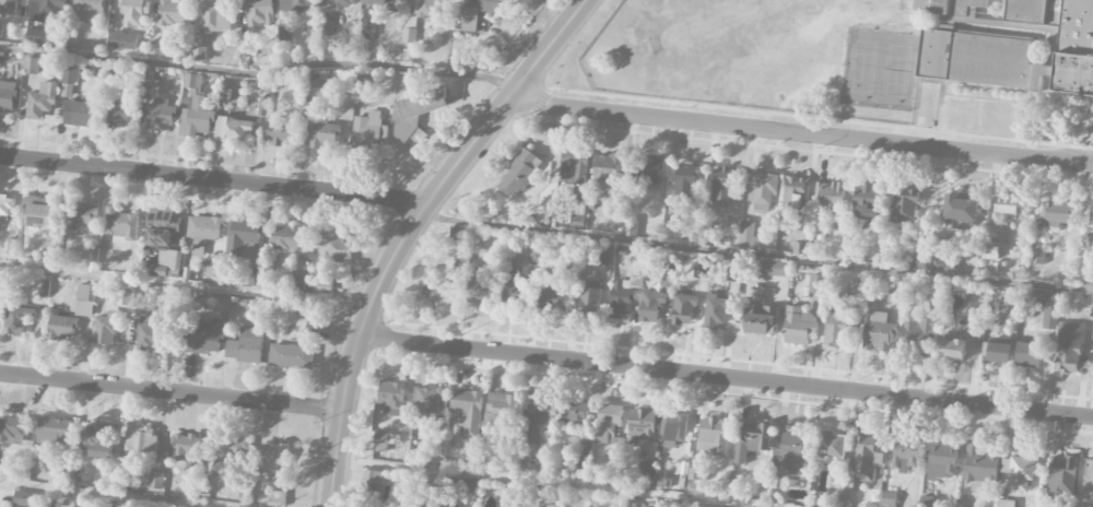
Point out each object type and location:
building: (378, 2)
building: (340, 4)
building: (296, 5)
building: (969, 5)
building: (8, 7)
building: (931, 7)
building: (424, 8)
building: (91, 9)
building: (49, 10)
building: (134, 12)
building: (478, 12)
building: (1027, 12)
building: (174, 13)
building: (260, 13)
building: (216, 17)
building: (1072, 25)
building: (367, 28)
park: (732, 30)
building: (37, 37)
building: (124, 40)
building: (161, 48)
building: (245, 50)
building: (199, 54)
building: (998, 63)
building: (31, 66)
park: (878, 70)
road: (248, 75)
building: (69, 80)
building: (318, 87)
building: (8, 96)
building: (42, 102)
building: (261, 106)
building: (195, 110)
building: (122, 113)
building: (78, 114)
building: (161, 115)
building: (415, 115)
building: (234, 130)
building: (279, 132)
building: (369, 132)
road: (802, 133)
building: (325, 137)
building: (573, 169)
building: (647, 173)
building: (519, 174)
building: (606, 174)
road: (212, 179)
building: (684, 184)
building: (724, 185)
building: (762, 191)
building: (794, 192)
building: (832, 198)
building: (867, 202)
building: (905, 204)
building: (5, 207)
building: (1006, 208)
building: (961, 209)
building: (39, 212)
building: (577, 215)
building: (1056, 215)
building: (80, 216)
building: (1091, 216)
building: (959, 224)
building: (121, 225)
building: (631, 227)
building: (161, 228)
building: (204, 228)
road: (409, 229)
building: (992, 233)
building: (456, 234)
building: (285, 237)
building: (748, 237)
building: (243, 239)
building: (800, 244)
building: (333, 247)
building: (990, 250)
road: (756, 253)
building: (534, 256)
building: (972, 257)
building: (1037, 258)
building: (168, 261)
building: (936, 264)
building: (668, 268)
building: (775, 269)
building: (700, 272)
building: (731, 273)
building: (213, 274)
building: (298, 275)
road: (185, 283)
building: (818, 284)
building: (324, 286)
building: (437, 286)
building: (516, 290)
building: (858, 291)
building: (481, 293)
building: (895, 297)
building: (130, 298)
building: (554, 299)
building: (589, 299)
building: (85, 300)
building: (620, 300)
building: (651, 307)
building: (683, 310)
building: (716, 311)
building: (16, 316)
building: (1049, 317)
building: (760, 320)
building: (799, 326)
building: (61, 328)
building: (107, 329)
building: (313, 329)
building: (919, 329)
building: (836, 330)
building: (151, 331)
building: (878, 332)
building: (205, 337)
building: (246, 346)
building: (1069, 347)
building: (953, 349)
building: (1029, 355)
building: (291, 356)
road: (726, 377)
road: (171, 391)
building: (391, 398)
building: (431, 402)
building: (566, 405)
building: (503, 409)
building: (467, 412)
building: (575, 416)
building: (537, 420)
building: (609, 420)
building: (640, 425)
building: (12, 429)
building: (674, 429)
building: (52, 431)
building: (714, 436)
building: (751, 439)
building: (97, 440)
building: (141, 441)
building: (381, 441)
building: (832, 444)
building: (187, 447)
building: (231, 447)
building: (905, 455)
building: (791, 456)
building: (274, 457)
building: (866, 460)
building: (943, 461)
building: (979, 468)
building: (646, 470)
building: (1018, 472)
building: (697, 474)
building: (1061, 475)
building: (373, 480)
building: (155, 481)
road: (542, 484)
building: (1089, 484)
road: (117, 494)
building: (277, 498)
building: (23, 499)
building: (889, 499)
building: (927, 502)
building: (1004, 504)
building: (80, 505)
building: (114, 506)

